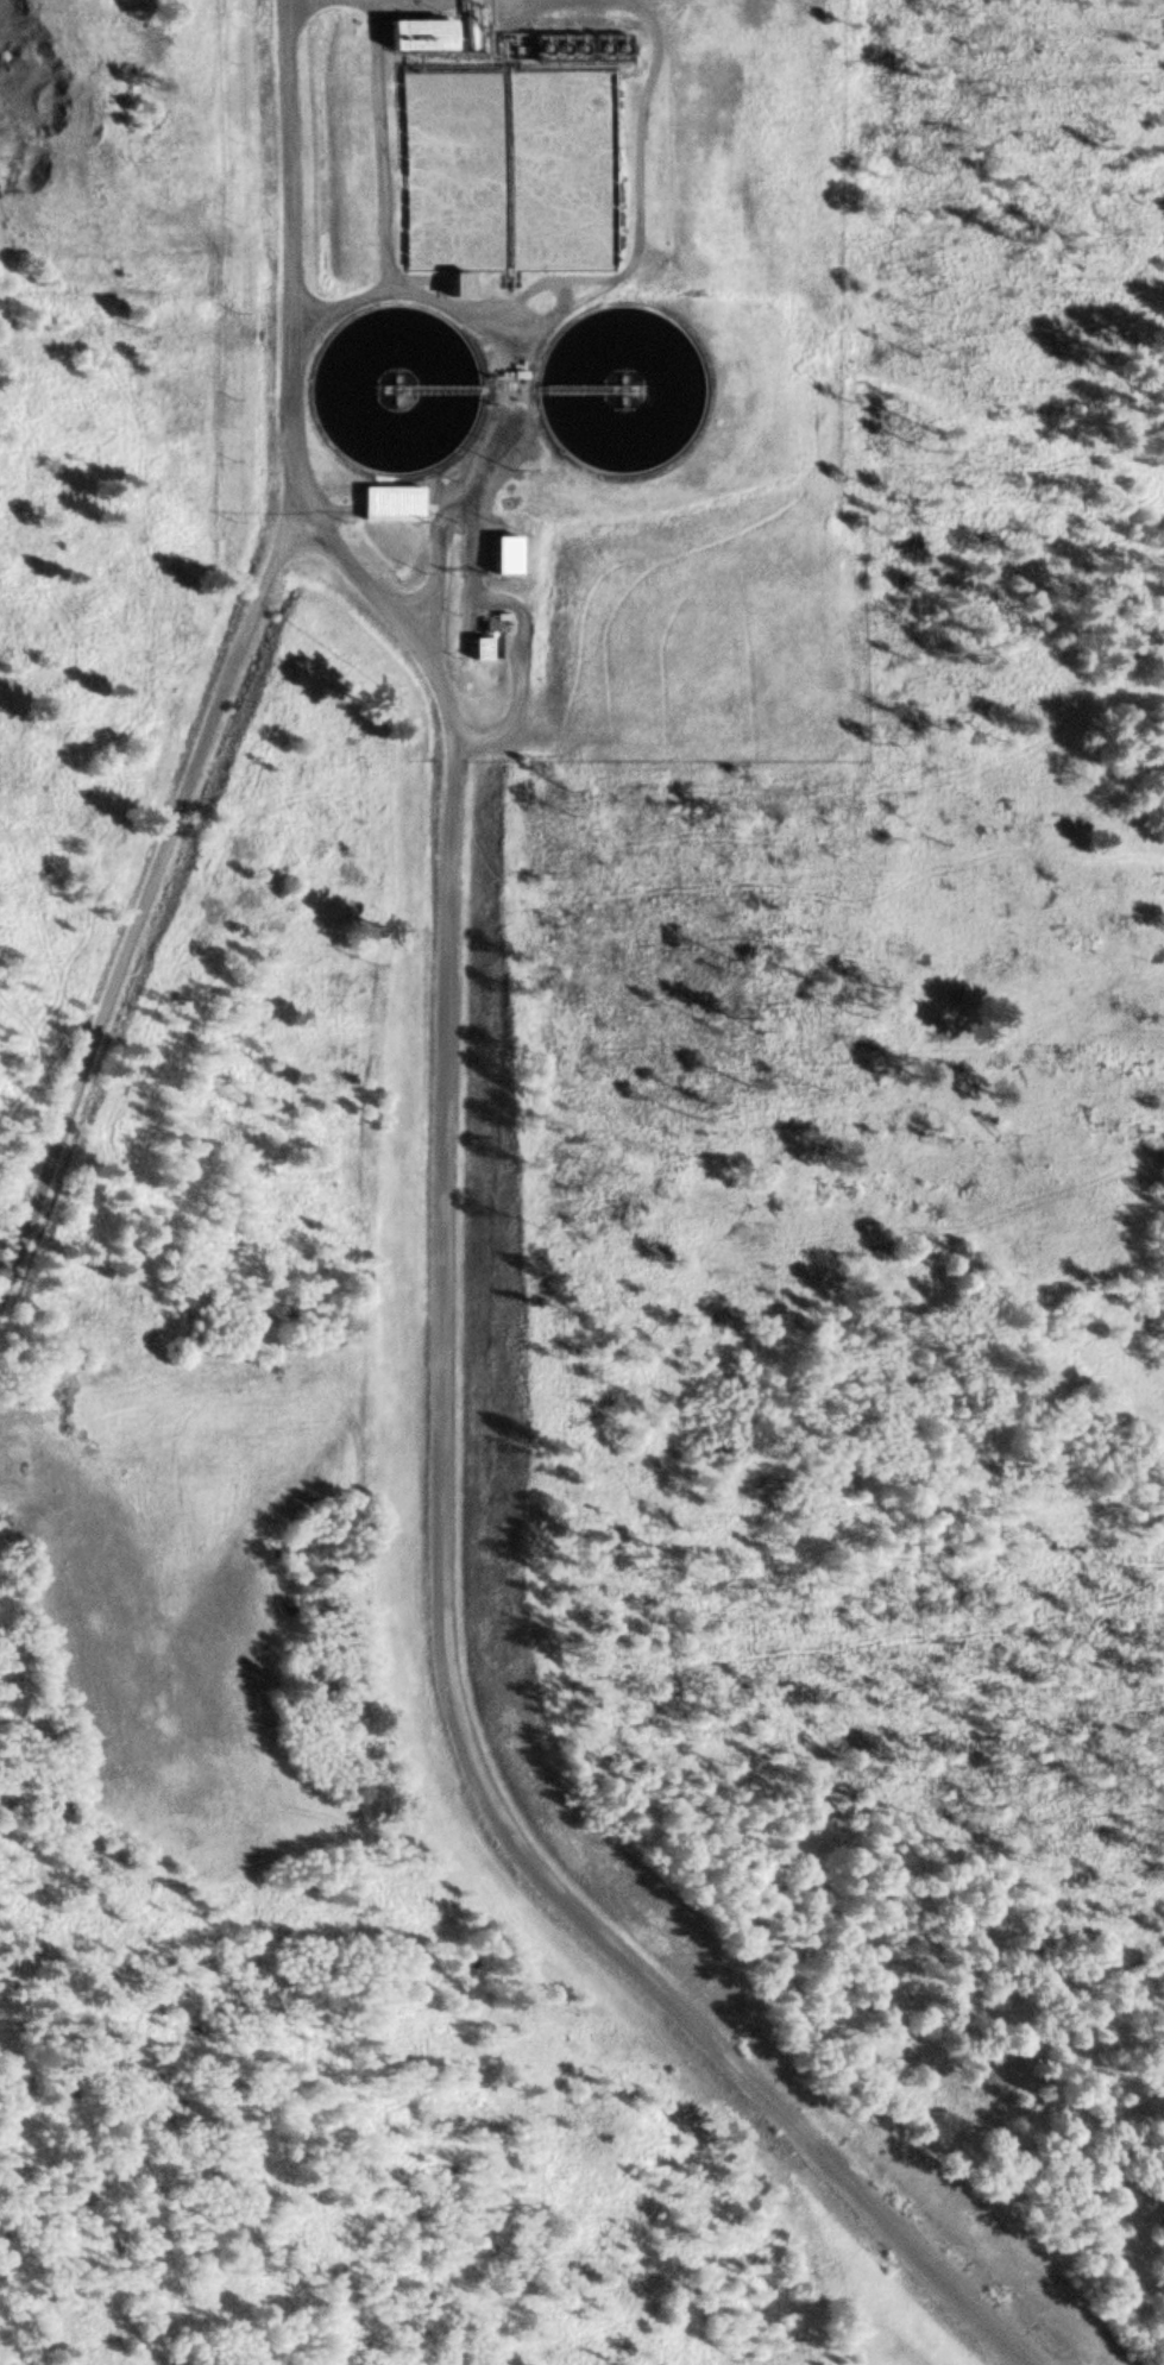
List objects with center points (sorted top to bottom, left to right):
building: (398, 39)
wastewater plant: (573, 369)
building: (380, 504)
building: (497, 555)
building: (471, 649)
road: (238, 681)
road: (449, 1485)

